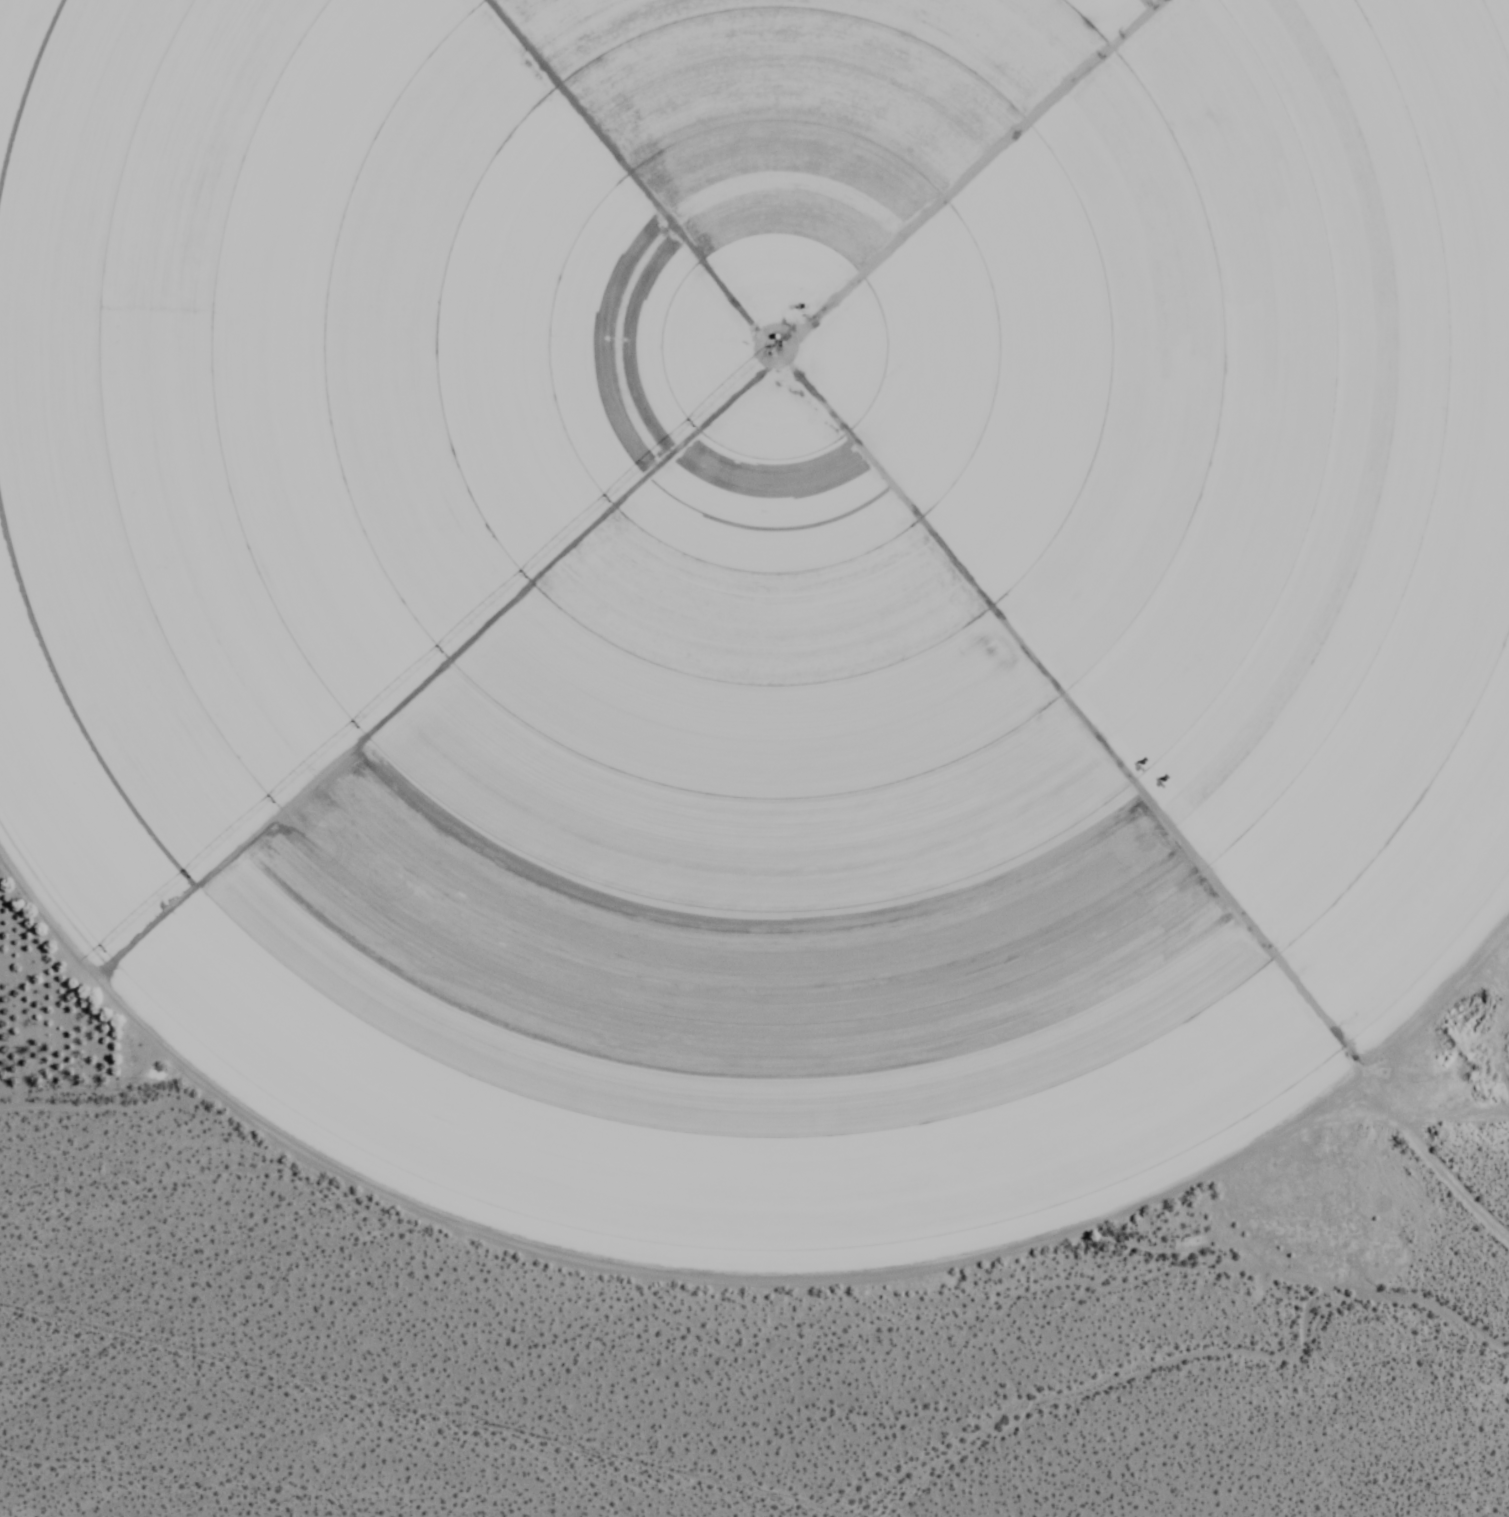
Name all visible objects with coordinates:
crop: (754, 583)

